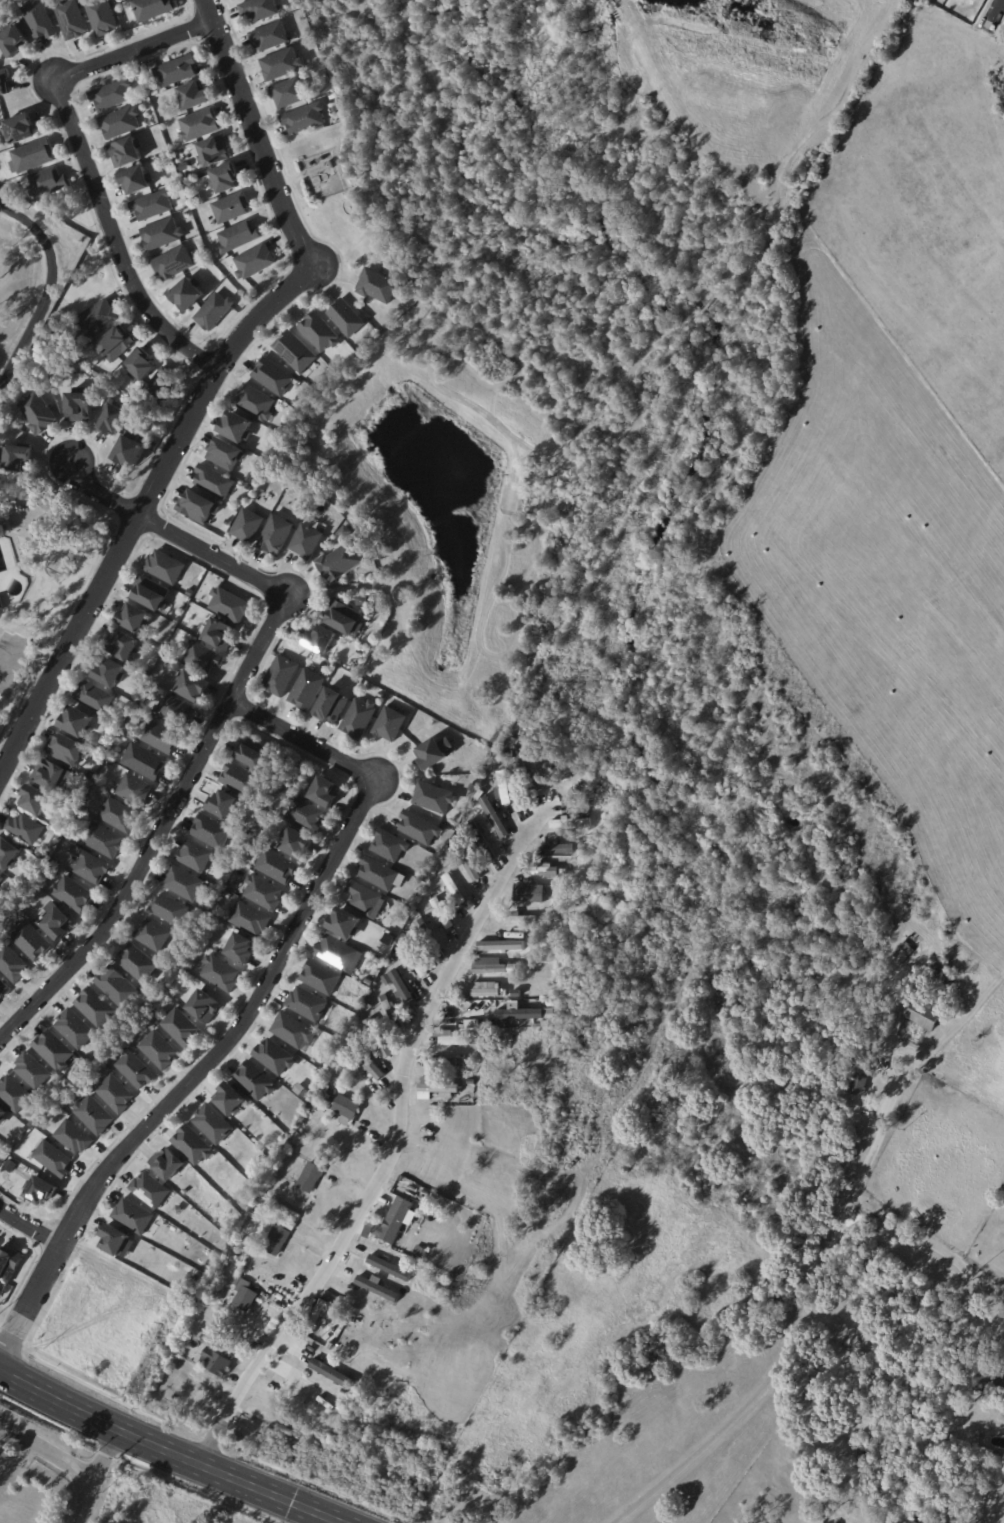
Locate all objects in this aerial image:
building: (260, 8)
building: (153, 9)
road: (994, 11)
building: (102, 17)
building: (70, 18)
building: (39, 20)
building: (270, 34)
building: (12, 41)
road: (134, 49)
building: (281, 63)
building: (177, 69)
building: (3, 81)
building: (290, 90)
building: (112, 94)
building: (194, 94)
building: (332, 100)
building: (304, 117)
building: (120, 121)
building: (200, 124)
building: (19, 127)
road: (255, 136)
building: (213, 149)
building: (126, 150)
building: (33, 156)
building: (329, 164)
building: (225, 177)
building: (136, 179)
building: (47, 183)
building: (198, 197)
building: (153, 204)
building: (231, 206)
building: (162, 233)
building: (238, 236)
road: (113, 241)
building: (255, 261)
building: (173, 262)
building: (378, 285)
road: (46, 287)
building: (188, 292)
building: (214, 310)
building: (346, 317)
building: (97, 319)
building: (319, 331)
building: (115, 345)
building: (294, 351)
building: (140, 366)
building: (273, 376)
building: (163, 386)
building: (255, 402)
building: (79, 405)
building: (38, 414)
building: (112, 421)
building: (236, 426)
building: (129, 451)
building: (225, 453)
building: (17, 457)
building: (214, 481)
building: (242, 483)
building: (197, 506)
road: (143, 507)
building: (247, 525)
building: (344, 532)
road: (173, 535)
building: (275, 535)
building: (306, 540)
building: (339, 562)
building: (165, 566)
building: (151, 592)
building: (190, 592)
building: (361, 600)
building: (1, 601)
building: (229, 605)
building: (134, 618)
building: (344, 618)
building: (219, 634)
building: (321, 639)
road: (20, 643)
building: (121, 643)
building: (203, 656)
parking lot: (11, 660)
building: (332, 667)
building: (109, 672)
building: (281, 676)
building: (193, 686)
building: (307, 689)
building: (381, 695)
building: (94, 697)
building: (331, 706)
building: (173, 709)
building: (359, 718)
building: (76, 721)
building: (390, 723)
building: (159, 737)
building: (511, 747)
building: (67, 749)
building: (253, 752)
building: (435, 752)
building: (145, 762)
building: (521, 763)
building: (48, 774)
building: (241, 778)
building: (504, 787)
building: (517, 787)
building: (133, 789)
building: (325, 792)
building: (434, 798)
building: (34, 800)
building: (223, 804)
building: (573, 809)
building: (305, 814)
building: (118, 815)
building: (493, 817)
building: (569, 822)
building: (420, 828)
building: (25, 829)
building: (211, 831)
road: (162, 832)
building: (480, 839)
building: (102, 840)
building: (296, 843)
building: (390, 846)
building: (560, 849)
building: (8, 854)
building: (195, 856)
building: (467, 861)
building: (91, 867)
building: (276, 868)
building: (545, 871)
building: (379, 874)
building: (1, 879)
building: (184, 884)
building: (454, 889)
building: (530, 892)
building: (263, 893)
building: (73, 895)
building: (364, 898)
building: (169, 910)
building: (443, 915)
building: (521, 918)
building: (249, 919)
building: (343, 922)
building: (56, 924)
building: (152, 935)
building: (430, 940)
building: (31, 941)
building: (505, 941)
building: (240, 949)
building: (907, 949)
building: (337, 952)
building: (414, 960)
building: (137, 963)
building: (12, 964)
building: (491, 968)
building: (945, 971)
building: (220, 973)
building: (319, 975)
building: (369, 981)
building: (116, 988)
building: (400, 988)
building: (3, 989)
building: (486, 989)
building: (504, 992)
building: (307, 1004)
building: (204, 1007)
building: (95, 1008)
building: (391, 1011)
building: (518, 1011)
road: (249, 1012)
building: (925, 1015)
building: (466, 1016)
building: (180, 1028)
building: (74, 1029)
building: (294, 1032)
building: (340, 1032)
building: (378, 1039)
building: (462, 1042)
building: (53, 1050)
building: (158, 1050)
building: (275, 1057)
building: (366, 1063)
building: (444, 1063)
building: (134, 1070)
building: (32, 1071)
building: (255, 1081)
building: (472, 1082)
building: (856, 1087)
building: (434, 1088)
building: (302, 1091)
building: (14, 1095)
building: (115, 1095)
building: (230, 1100)
building: (346, 1110)
building: (93, 1116)
building: (2, 1118)
building: (23, 1120)
building: (213, 1125)
building: (22, 1131)
building: (73, 1138)
building: (297, 1139)
building: (193, 1146)
road: (389, 1154)
building: (53, 1159)
building: (167, 1165)
building: (10, 1166)
building: (310, 1178)
building: (150, 1191)
building: (41, 1192)
building: (133, 1217)
building: (396, 1222)
building: (289, 1224)
road: (29, 1227)
building: (368, 1232)
building: (277, 1240)
building: (113, 1242)
building: (423, 1253)
road: (937, 1257)
building: (9, 1266)
building: (388, 1267)
building: (366, 1273)
building: (375, 1286)
building: (244, 1295)
building: (315, 1320)
road: (804, 1332)
building: (216, 1363)
building: (288, 1364)
building: (330, 1372)
building: (976, 1380)
building: (1000, 1386)
building: (298, 1388)
building: (338, 1409)
road: (168, 1451)
road: (63, 1458)
building: (866, 1458)
park: (164, 1503)

